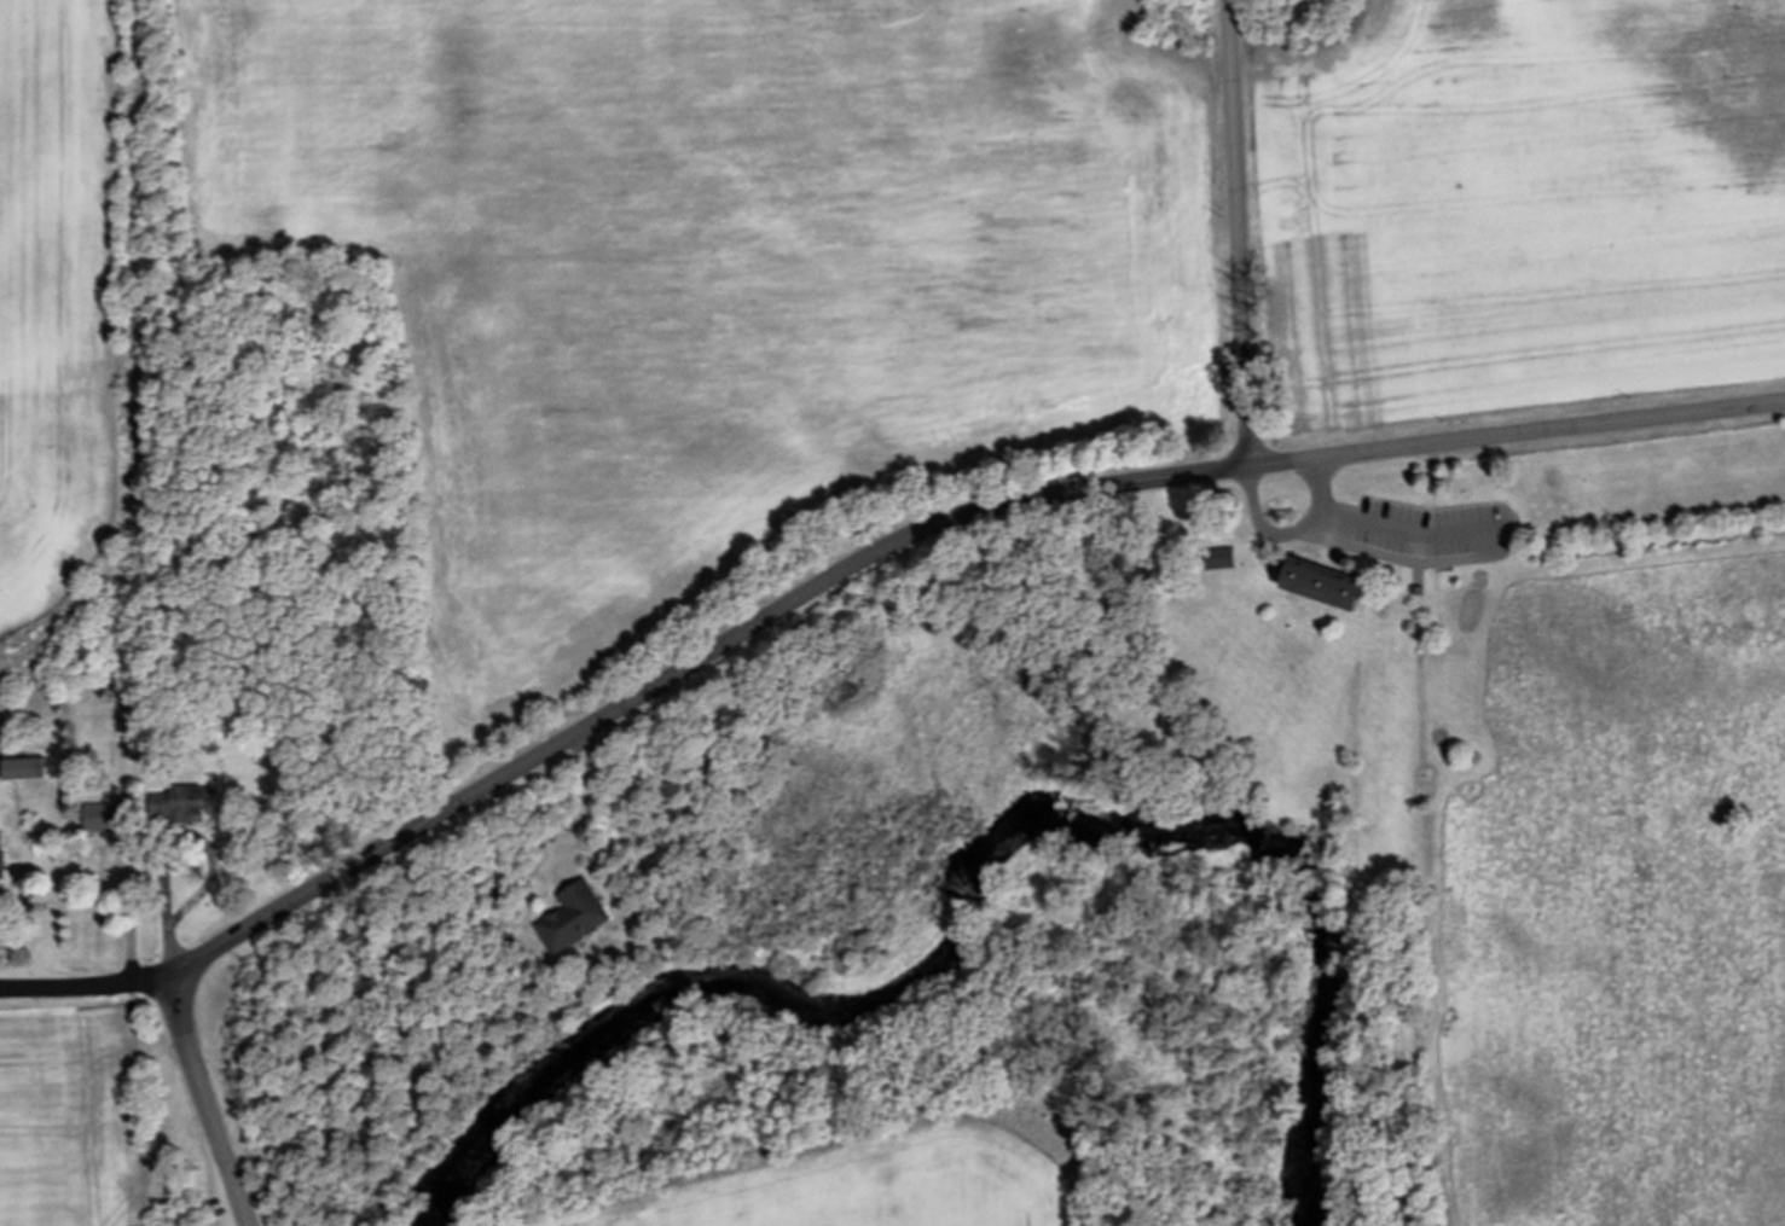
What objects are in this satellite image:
road: (1240, 234)
road: (1412, 533)
road: (1296, 535)
road: (925, 539)
building: (1326, 589)
building: (27, 769)
building: (185, 803)
road: (587, 804)
building: (106, 820)
building: (2, 855)
road: (167, 908)
building: (576, 919)
river: (950, 964)
road: (86, 978)
road: (211, 1103)

